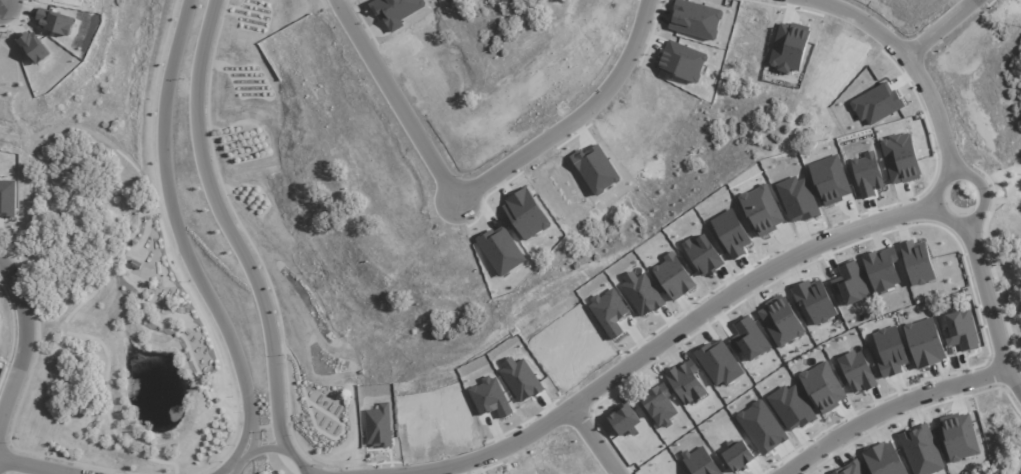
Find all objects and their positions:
road: (938, 27)
road: (913, 64)
building: (900, 158)
building: (867, 175)
road: (480, 182)
building: (762, 210)
road: (939, 212)
road: (232, 225)
building: (732, 233)
road: (175, 234)
park: (1004, 255)
building: (917, 262)
building: (882, 269)
building: (674, 276)
building: (850, 284)
building: (642, 294)
building: (815, 301)
road: (988, 306)
building: (781, 321)
building: (961, 330)
road: (664, 342)
building: (924, 343)
road: (23, 345)
building: (890, 351)
building: (857, 371)
building: (521, 379)
building: (687, 382)
building: (823, 387)
building: (660, 405)
road: (889, 408)
building: (624, 419)
building: (378, 426)
building: (420, 434)
building: (959, 437)
road: (595, 440)
road: (270, 447)
building: (921, 450)
road: (237, 451)
building: (738, 456)
building: (884, 459)
building: (700, 461)
road: (35, 466)
road: (310, 468)
building: (851, 468)

